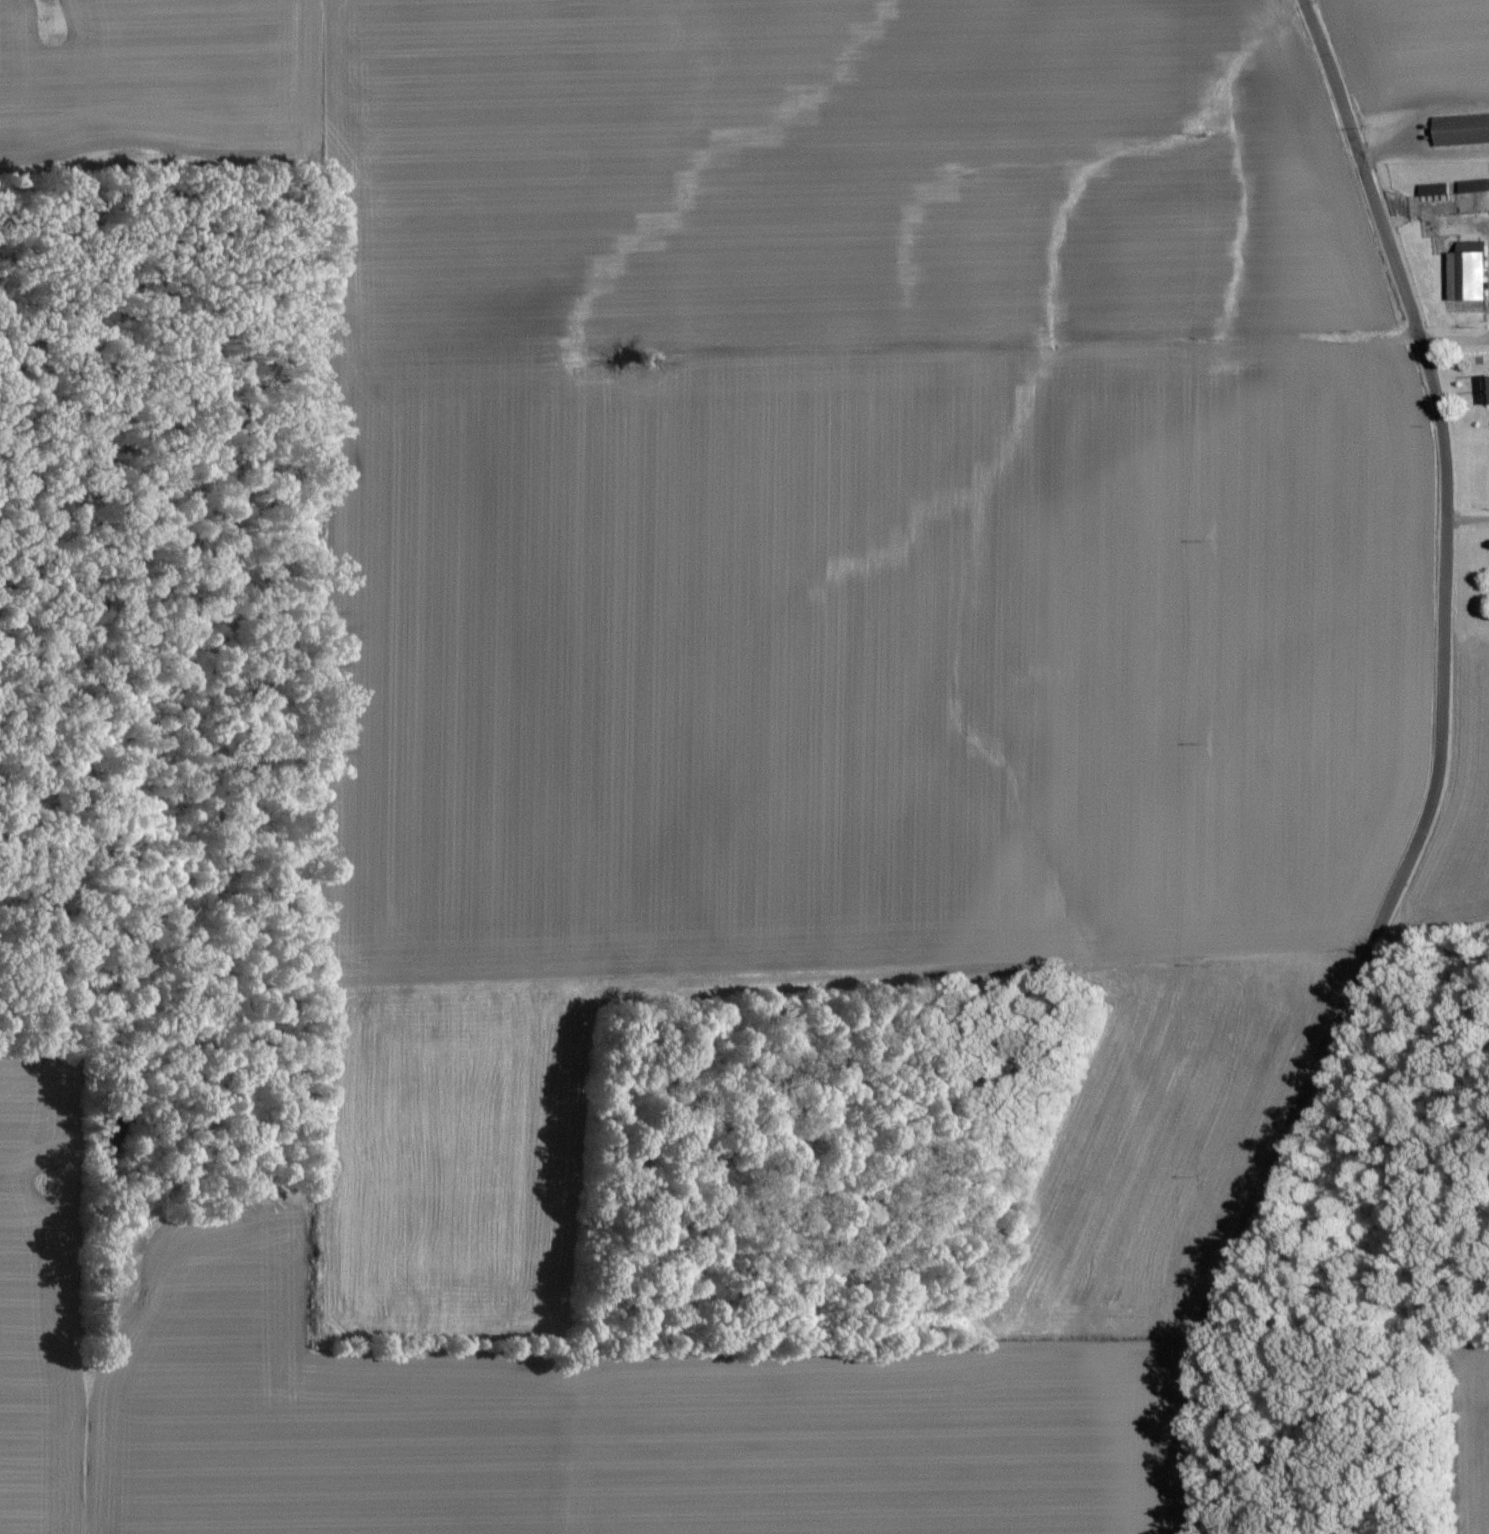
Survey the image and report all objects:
building: (1460, 130)
road: (1422, 154)
building: (1471, 187)
building: (1429, 190)
building: (1465, 272)
road: (1452, 344)
building: (1485, 391)
road: (1466, 522)
road: (1436, 781)

